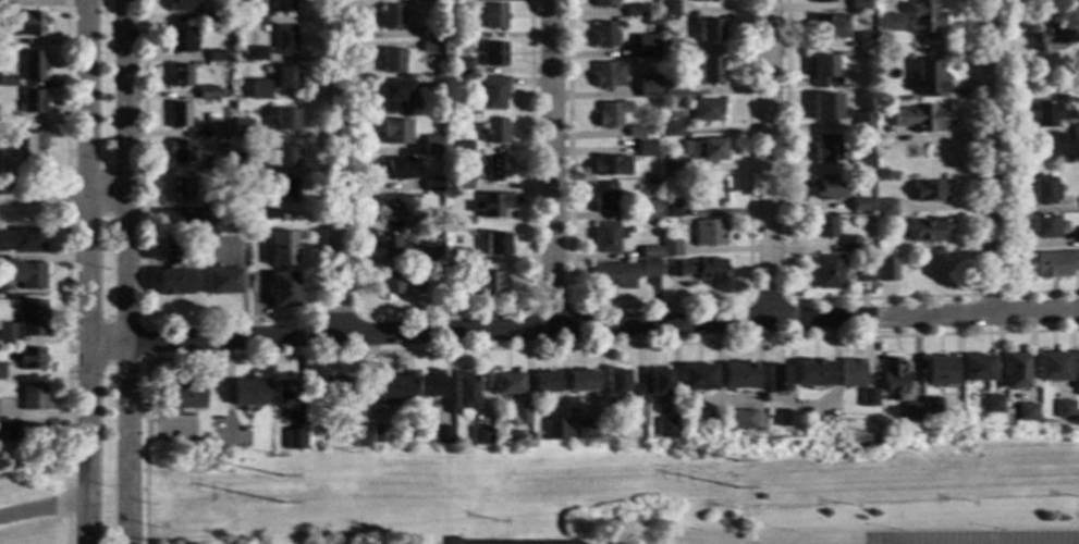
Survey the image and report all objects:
building: (702, 0)
building: (420, 1)
building: (456, 1)
building: (821, 1)
building: (602, 3)
building: (857, 4)
building: (2, 5)
building: (183, 5)
building: (282, 5)
building: (667, 8)
building: (634, 11)
building: (218, 16)
building: (493, 16)
building: (256, 17)
building: (390, 17)
building: (922, 18)
building: (649, 21)
building: (887, 23)
building: (27, 24)
building: (620, 25)
building: (827, 27)
building: (709, 29)
building: (430, 33)
building: (466, 34)
building: (603, 35)
building: (1049, 38)
building: (179, 40)
building: (283, 40)
building: (2, 41)
building: (863, 41)
building: (645, 46)
building: (430, 47)
building: (669, 48)
building: (256, 54)
building: (493, 55)
building: (216, 57)
building: (392, 61)
building: (33, 66)
building: (461, 66)
building: (710, 71)
building: (823, 73)
building: (608, 74)
building: (181, 76)
building: (285, 78)
building: (927, 78)
building: (8, 82)
building: (647, 87)
building: (258, 89)
building: (676, 90)
building: (492, 92)
building: (207, 94)
building: (393, 95)
building: (33, 102)
building: (827, 108)
building: (706, 110)
building: (1047, 113)
building: (611, 114)
building: (179, 115)
road: (64, 119)
building: (919, 119)
building: (7, 120)
building: (284, 121)
building: (861, 122)
building: (242, 129)
building: (493, 131)
building: (218, 132)
building: (396, 132)
building: (635, 132)
building: (673, 132)
building: (647, 133)
building: (1075, 134)
building: (432, 145)
building: (33, 146)
building: (462, 148)
building: (825, 148)
building: (645, 149)
building: (706, 149)
building: (181, 151)
road: (989, 156)
building: (283, 157)
road: (767, 160)
building: (862, 162)
road: (550, 163)
building: (243, 164)
building: (670, 165)
building: (217, 166)
building: (610, 166)
road: (339, 168)
building: (495, 168)
building: (399, 170)
building: (648, 182)
road: (1007, 182)
building: (462, 184)
building: (433, 185)
building: (827, 188)
building: (181, 190)
building: (285, 190)
building: (1042, 190)
building: (713, 191)
building: (928, 191)
road: (65, 193)
road: (64, 196)
building: (603, 198)
building: (858, 205)
building: (395, 206)
building: (490, 206)
building: (885, 208)
building: (647, 210)
building: (670, 211)
building: (208, 214)
building: (269, 214)
building: (427, 222)
building: (1043, 226)
building: (822, 227)
building: (927, 230)
building: (238, 232)
building: (708, 233)
building: (1078, 235)
building: (604, 237)
building: (22, 239)
building: (388, 245)
building: (495, 245)
building: (848, 245)
building: (282, 248)
building: (670, 248)
road: (85, 250)
building: (259, 251)
building: (649, 252)
building: (428, 257)
building: (454, 258)
building: (1055, 263)
building: (649, 268)
building: (696, 269)
building: (886, 270)
road: (131, 271)
building: (827, 272)
building: (861, 273)
building: (23, 274)
building: (614, 275)
building: (416, 281)
building: (222, 282)
building: (174, 283)
building: (489, 284)
building: (390, 285)
building: (0, 288)
building: (284, 290)
building: (453, 290)
road: (989, 294)
road: (878, 297)
road: (768, 300)
road: (654, 304)
road: (549, 307)
road: (440, 310)
road: (336, 314)
road: (225, 318)
building: (25, 322)
road: (581, 326)
road: (144, 339)
road: (518, 347)
building: (30, 359)
building: (1052, 368)
building: (977, 369)
building: (0, 371)
building: (1014, 371)
building: (937, 372)
building: (1077, 372)
building: (850, 373)
building: (812, 374)
building: (738, 378)
road: (66, 379)
building: (696, 379)
building: (776, 379)
building: (892, 379)
building: (580, 381)
building: (659, 382)
building: (507, 384)
building: (542, 384)
building: (428, 386)
building: (622, 388)
building: (335, 390)
building: (392, 390)
building: (249, 394)
building: (285, 394)
building: (464, 394)
building: (184, 395)
building: (30, 396)
building: (867, 398)
building: (494, 405)
building: (992, 405)
building: (931, 407)
building: (1064, 410)
building: (0, 411)
building: (910, 411)
building: (1025, 412)
building: (520, 417)
building: (784, 418)
building: (739, 419)
building: (2, 428)
building: (666, 428)
building: (554, 430)
building: (586, 430)
building: (379, 434)
building: (30, 435)
building: (443, 435)
building: (480, 436)
building: (360, 437)
building: (295, 440)
power tower: (736, 463)
power tower: (282, 479)
power tower: (738, 489)
road: (41, 503)
power tower: (283, 506)
road: (85, 522)
parking lot: (870, 536)
building: (234, 543)

